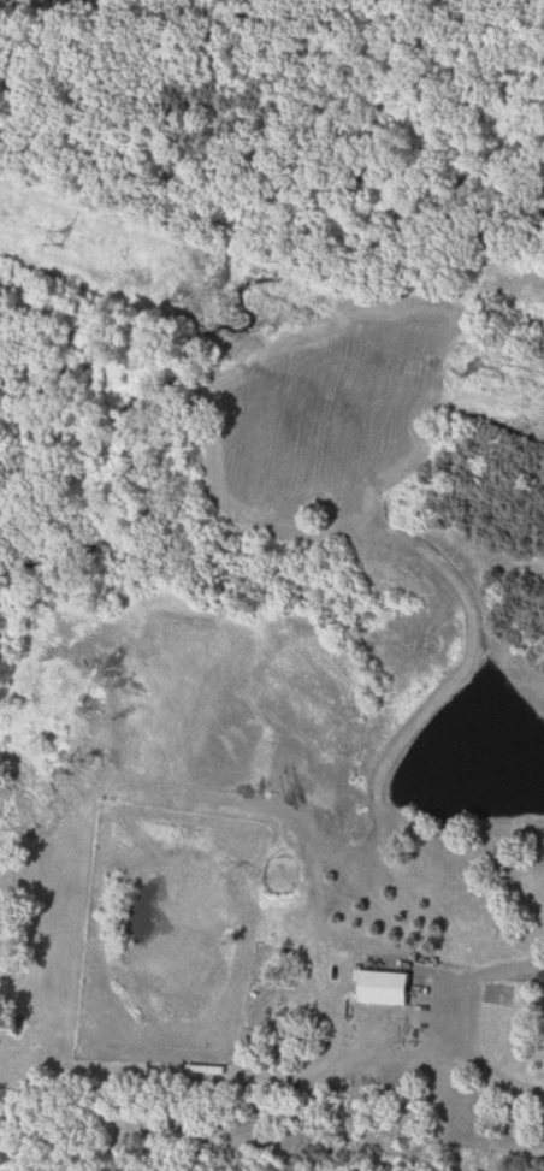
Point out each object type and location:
road: (490, 968)
building: (389, 988)
road: (477, 1049)

